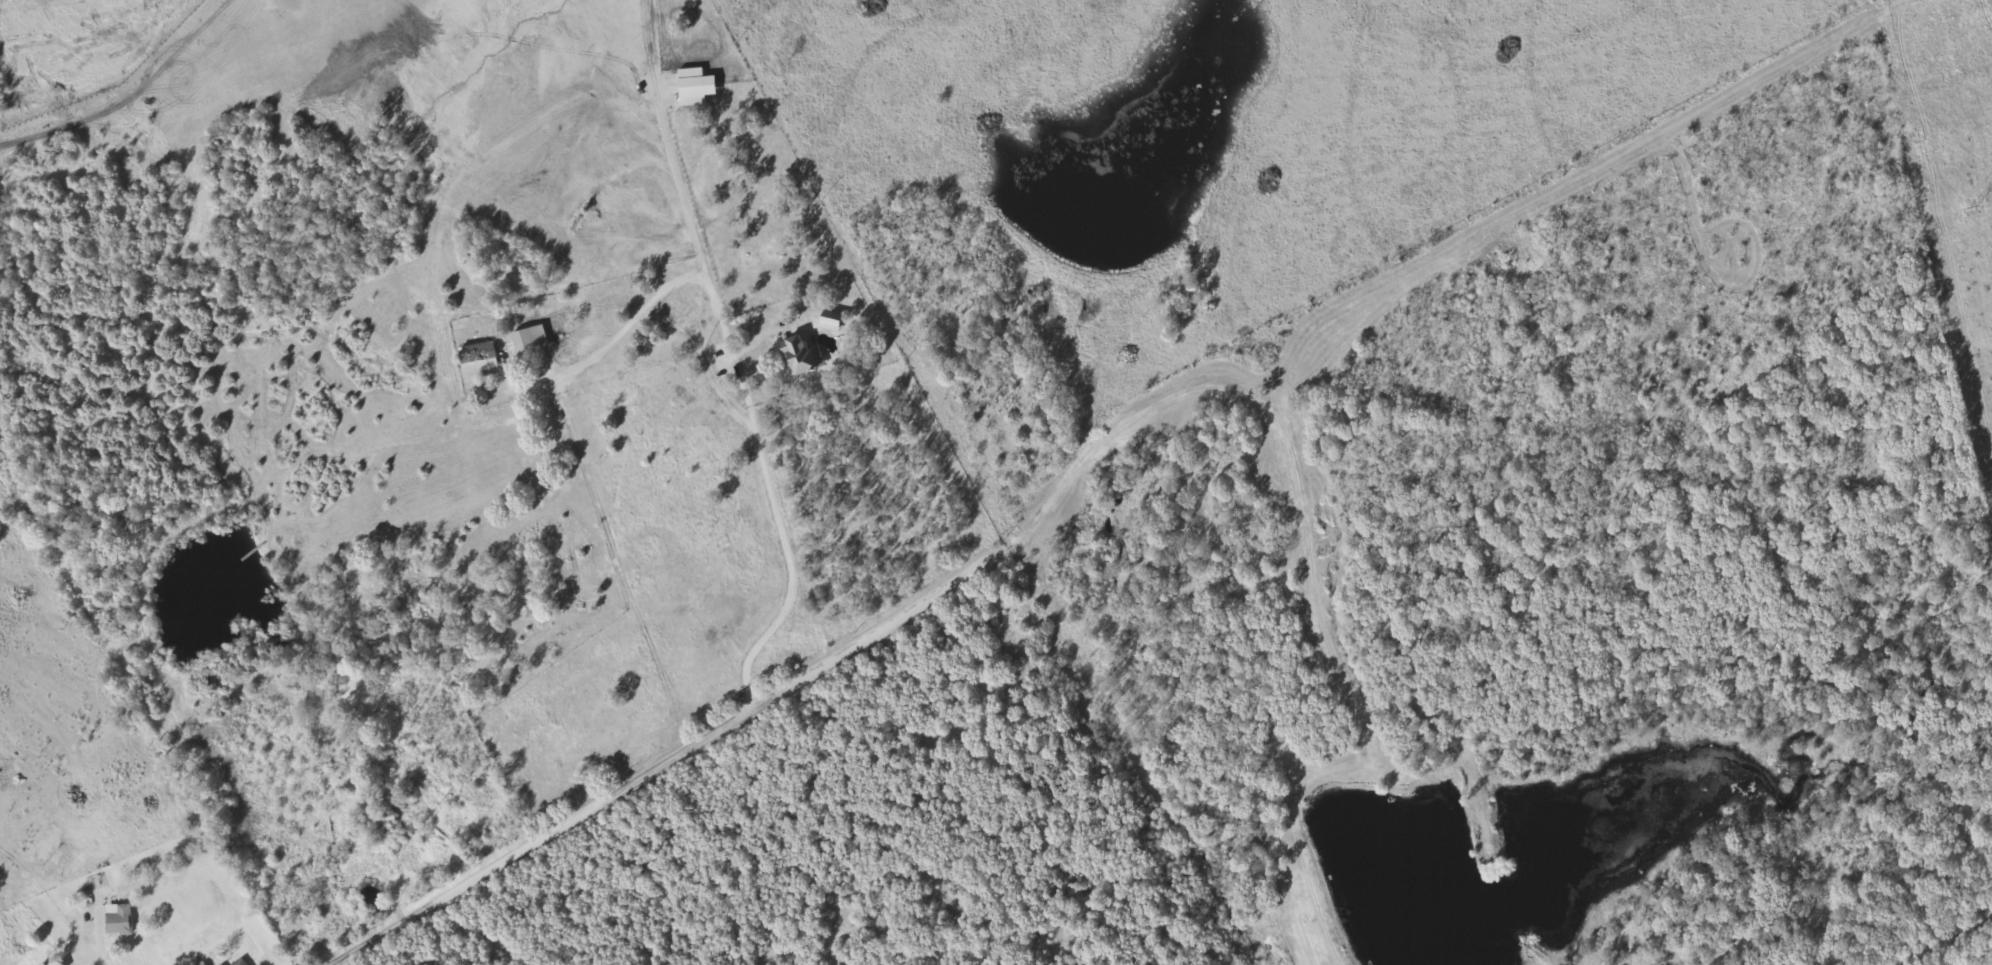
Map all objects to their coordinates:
building: (691, 87)
power tower: (1974, 212)
building: (526, 340)
building: (797, 357)
building: (484, 360)
road: (434, 720)
road: (669, 766)
building: (120, 922)
building: (304, 925)
building: (55, 963)
building: (240, 963)

